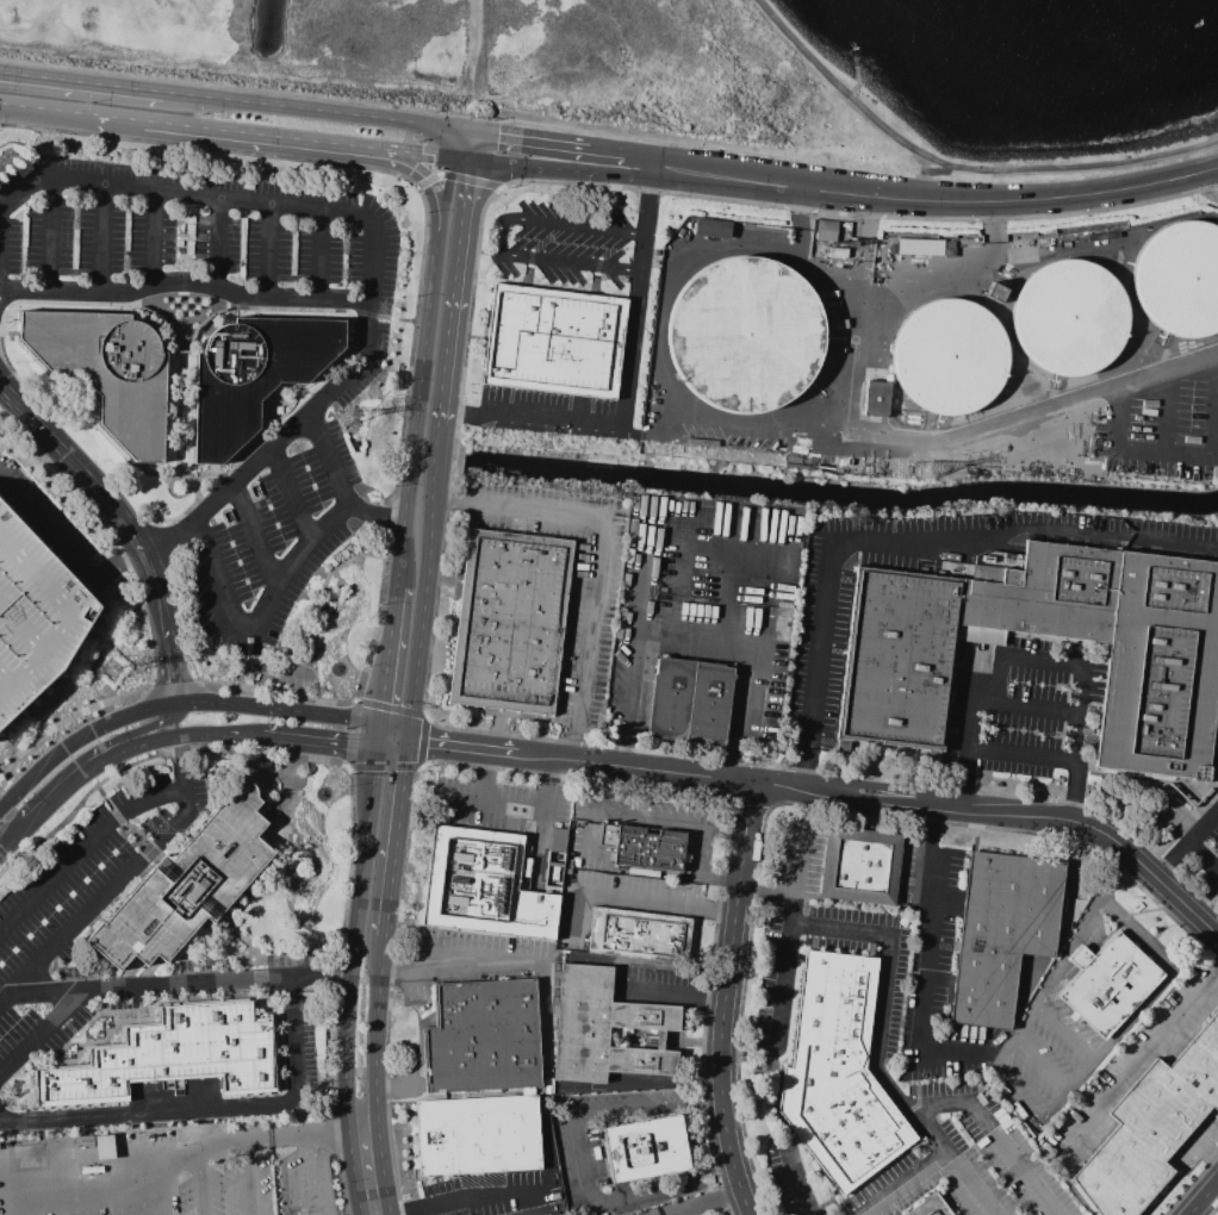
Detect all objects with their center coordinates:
road: (242, 101)
road: (72, 113)
road: (521, 136)
road: (267, 137)
road: (453, 143)
road: (483, 147)
road: (421, 156)
road: (465, 161)
road: (515, 167)
road: (934, 172)
road: (394, 174)
road: (455, 177)
road: (423, 179)
road: (446, 187)
road: (883, 197)
road: (858, 213)
road: (797, 220)
building: (710, 228)
building: (825, 230)
road: (49, 233)
road: (499, 236)
road: (100, 237)
road: (150, 238)
road: (216, 243)
road: (375, 243)
building: (915, 247)
road: (182, 250)
road: (269, 253)
road: (321, 256)
road: (827, 279)
building: (1181, 280)
road: (185, 281)
road: (464, 293)
building: (1068, 318)
road: (0, 322)
building: (746, 337)
building: (554, 342)
building: (949, 356)
road: (660, 360)
building: (111, 369)
building: (256, 374)
road: (629, 387)
building: (875, 398)
road: (421, 400)
road: (1166, 413)
power tower: (352, 418)
road: (864, 441)
road: (1170, 455)
power tower: (927, 472)
road: (291, 492)
road: (126, 523)
road: (1024, 528)
road: (253, 531)
road: (599, 556)
road: (101, 577)
road: (274, 578)
road: (427, 582)
road: (678, 584)
road: (642, 586)
road: (728, 587)
building: (1049, 596)
building: (35, 607)
parking garage: (35, 607)
road: (378, 610)
road: (144, 617)
park: (329, 618)
building: (511, 623)
road: (692, 649)
building: (899, 659)
road: (389, 660)
road: (1030, 662)
road: (814, 665)
power tower: (119, 666)
fountain: (336, 669)
building: (1162, 669)
road: (170, 687)
building: (689, 699)
road: (175, 704)
road: (1025, 705)
road: (349, 734)
road: (149, 735)
road: (967, 735)
road: (237, 736)
road: (392, 739)
road: (160, 741)
road: (421, 741)
road: (571, 742)
road: (446, 744)
road: (1077, 744)
road: (322, 747)
road: (1020, 758)
road: (182, 761)
road: (125, 766)
road: (557, 775)
road: (1198, 783)
road: (871, 786)
road: (350, 791)
road: (64, 792)
fountain: (322, 793)
road: (458, 797)
road: (186, 799)
road: (747, 802)
road: (870, 803)
road: (512, 804)
road: (809, 805)
road: (187, 814)
road: (1192, 816)
road: (669, 821)
road: (393, 836)
road: (5, 840)
road: (17, 840)
road: (1186, 841)
road: (85, 847)
building: (647, 848)
road: (5, 850)
park: (305, 854)
building: (862, 867)
building: (187, 878)
building: (491, 879)
road: (284, 883)
road: (763, 891)
road: (632, 899)
road: (1206, 899)
road: (93, 906)
road: (839, 930)
road: (354, 931)
building: (1003, 931)
road: (1138, 931)
building: (638, 936)
road: (931, 951)
road: (1059, 960)
road: (783, 962)
road: (462, 970)
road: (323, 973)
road: (154, 983)
building: (1111, 984)
road: (672, 992)
road: (723, 999)
building: (605, 1024)
road: (375, 1029)
road: (43, 1032)
road: (1063, 1032)
building: (483, 1033)
road: (1106, 1046)
building: (172, 1052)
road: (1142, 1058)
road: (1038, 1065)
road: (331, 1074)
building: (839, 1076)
road: (893, 1089)
road: (1015, 1095)
road: (209, 1105)
road: (334, 1129)
building: (1152, 1129)
building: (478, 1132)
road: (995, 1132)
building: (102, 1146)
building: (648, 1151)
road: (191, 1154)
road: (582, 1161)
road: (367, 1170)
road: (248, 1177)
road: (795, 1177)
road: (198, 1184)
road: (905, 1184)
road: (1191, 1184)
road: (1205, 1200)
road: (701, 1201)
road: (448, 1202)
building: (933, 1208)
road: (1213, 1210)

